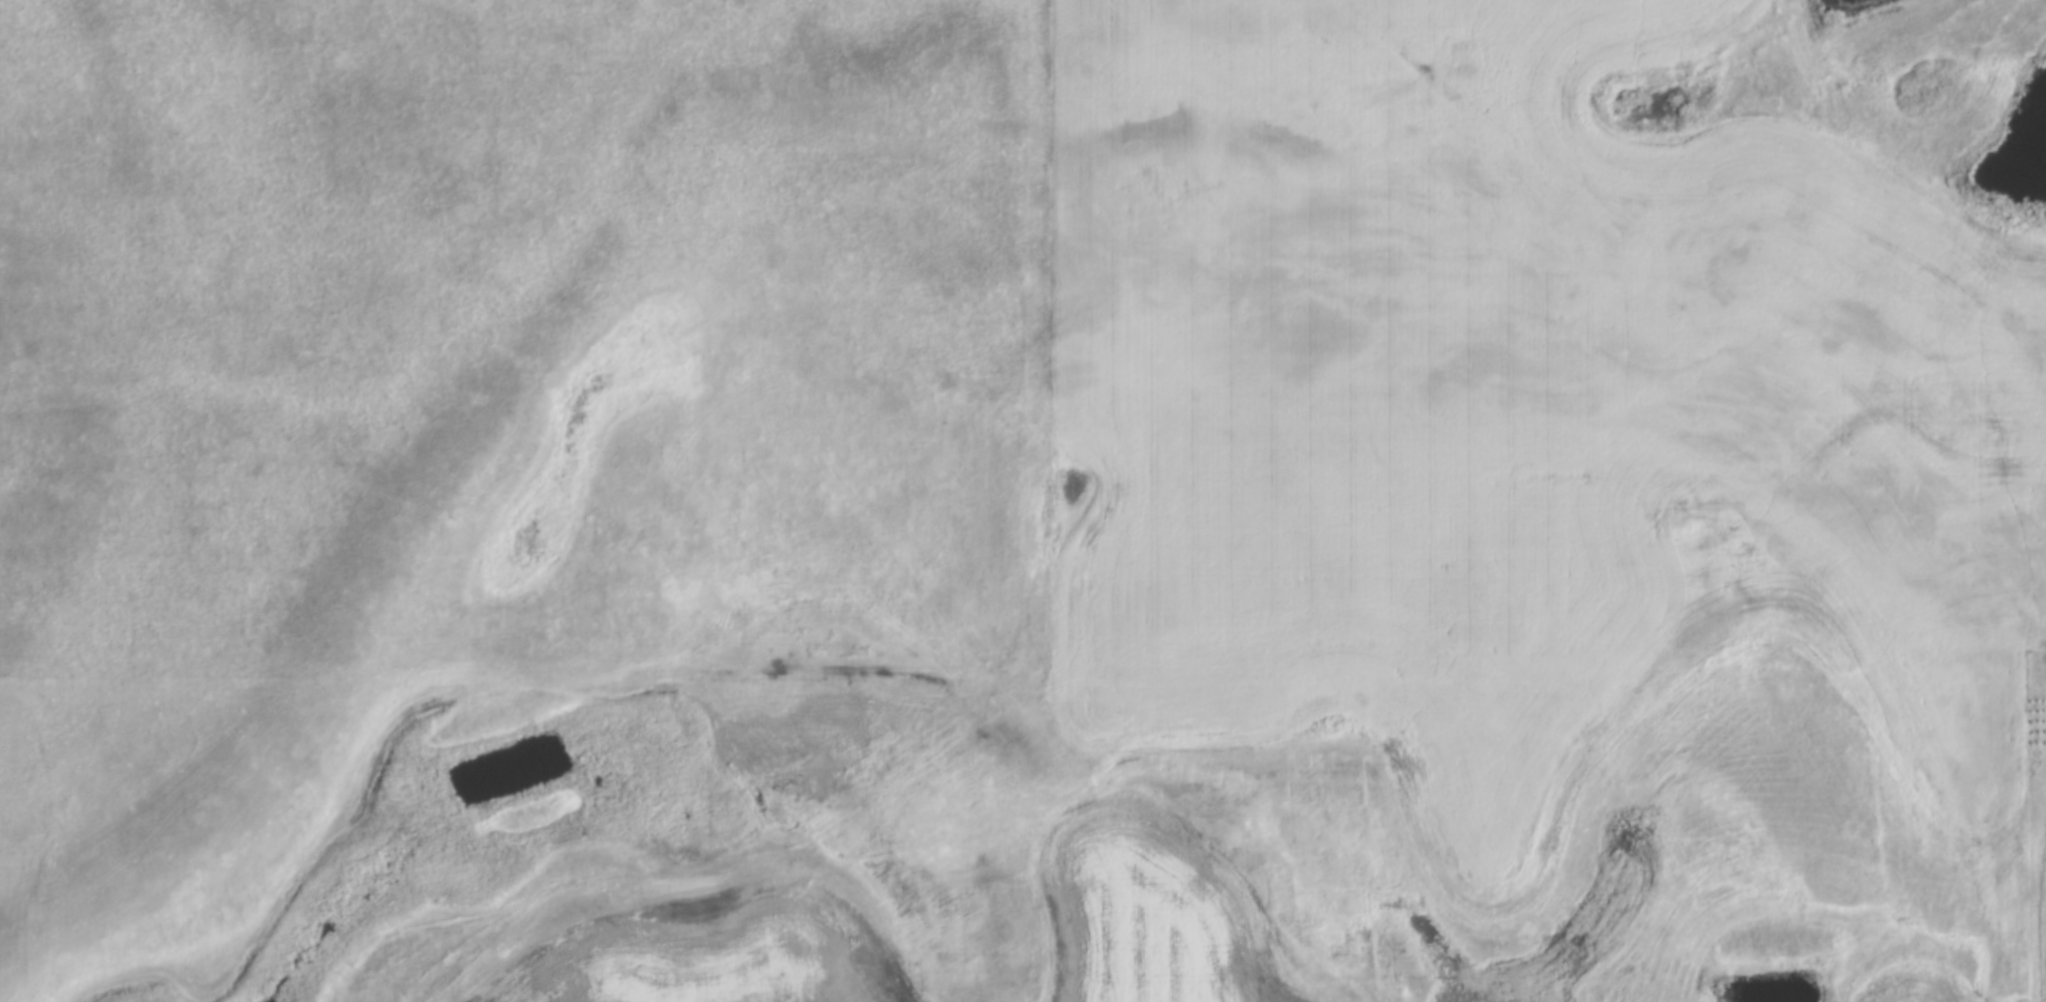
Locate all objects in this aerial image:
building: (2013, 742)

